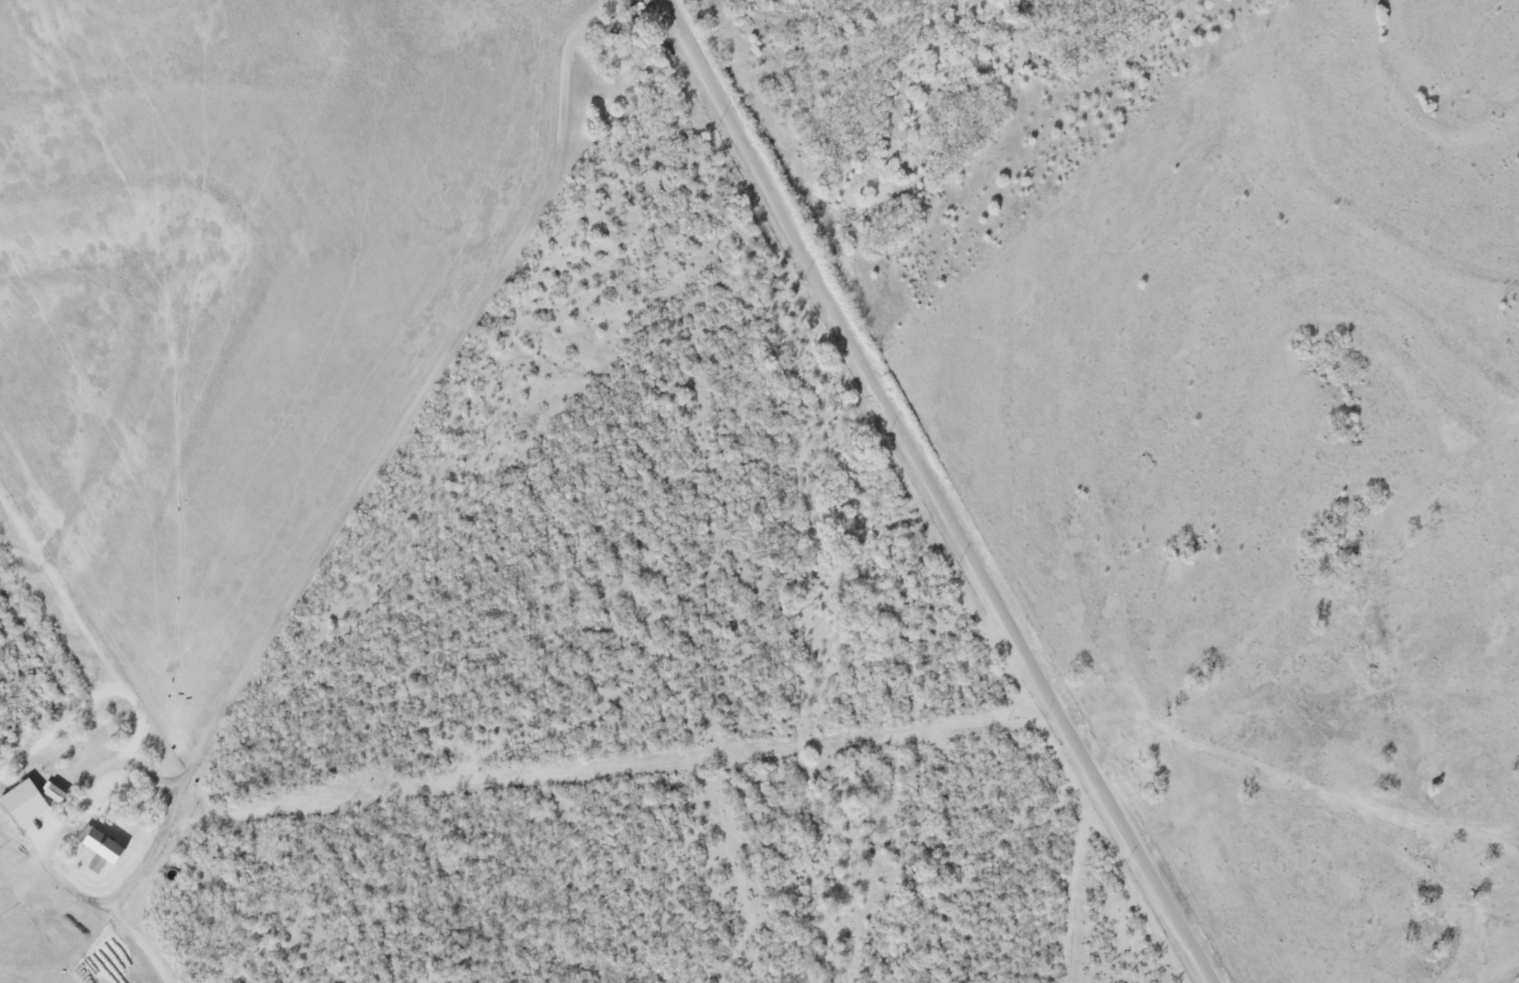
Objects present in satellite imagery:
road: (678, 21)
road: (698, 53)
road: (962, 523)
road: (327, 552)
building: (53, 793)

